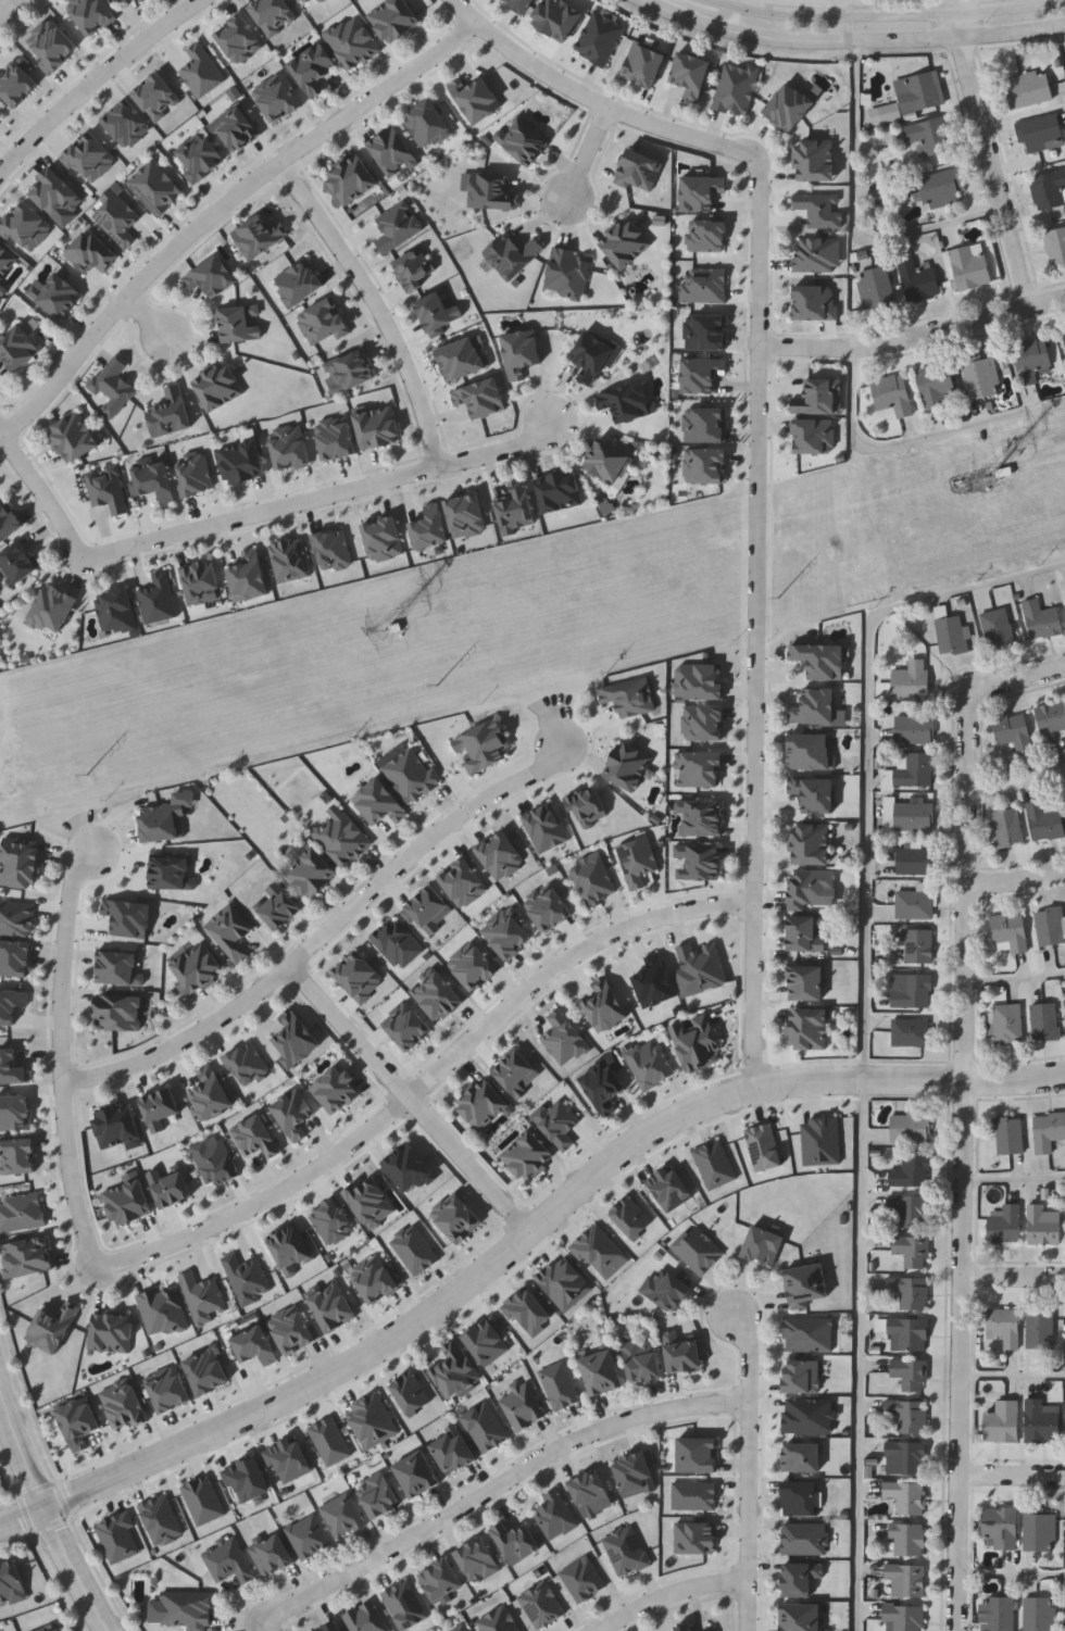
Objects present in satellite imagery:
building: (141, 0)
building: (118, 1)
building: (145, 1)
road: (1058, 1)
road: (731, 2)
road: (4, 3)
building: (313, 3)
road: (859, 8)
road: (709, 10)
road: (464, 11)
road: (890, 14)
building: (556, 17)
building: (394, 21)
road: (1014, 34)
building: (600, 37)
road: (800, 40)
road: (1062, 42)
building: (353, 43)
building: (642, 63)
building: (313, 68)
building: (202, 72)
building: (691, 75)
road: (96, 81)
building: (736, 88)
building: (1029, 88)
building: (918, 91)
building: (479, 102)
building: (789, 106)
road: (606, 110)
building: (428, 125)
building: (238, 129)
building: (1040, 131)
building: (931, 135)
building: (524, 141)
road: (857, 148)
building: (392, 152)
road: (992, 154)
building: (199, 156)
road: (589, 156)
building: (815, 160)
building: (352, 180)
building: (938, 186)
building: (155, 187)
building: (1049, 189)
building: (701, 190)
building: (494, 193)
road: (220, 210)
building: (118, 219)
building: (260, 235)
building: (626, 242)
building: (1055, 244)
building: (90, 252)
building: (817, 252)
building: (515, 258)
building: (7, 262)
building: (968, 265)
building: (416, 269)
building: (567, 272)
building: (211, 277)
building: (918, 278)
building: (298, 284)
building: (875, 287)
building: (57, 296)
road: (377, 304)
building: (439, 314)
road: (146, 316)
building: (238, 324)
building: (1064, 330)
road: (914, 335)
building: (17, 350)
building: (521, 351)
building: (590, 355)
building: (1031, 359)
building: (466, 361)
building: (349, 369)
building: (701, 373)
building: (980, 375)
building: (935, 384)
building: (113, 387)
building: (218, 388)
building: (891, 394)
building: (484, 400)
building: (626, 401)
building: (170, 414)
building: (378, 428)
road: (1, 434)
building: (73, 438)
road: (916, 438)
building: (242, 463)
building: (610, 463)
power tower: (990, 475)
building: (106, 489)
building: (559, 491)
road: (43, 493)
road: (322, 494)
building: (515, 507)
building: (289, 561)
building: (17, 562)
building: (249, 577)
building: (200, 582)
building: (159, 600)
building: (52, 609)
building: (115, 611)
building: (1041, 617)
road: (759, 622)
building: (998, 627)
power tower: (396, 632)
building: (951, 632)
building: (820, 657)
building: (910, 676)
road: (1020, 680)
building: (629, 694)
building: (815, 704)
building: (1052, 715)
building: (915, 727)
building: (1014, 729)
building: (486, 748)
building: (811, 749)
road: (868, 749)
building: (628, 764)
road: (1017, 767)
building: (914, 768)
building: (412, 776)
building: (814, 791)
building: (380, 803)
building: (588, 804)
building: (914, 813)
building: (700, 815)
building: (1043, 818)
building: (166, 819)
building: (1007, 826)
building: (546, 827)
building: (343, 839)
building: (811, 842)
building: (915, 858)
building: (636, 860)
building: (698, 860)
building: (21, 865)
building: (173, 871)
building: (311, 873)
road: (1017, 879)
building: (592, 880)
building: (914, 901)
building: (129, 917)
building: (1051, 924)
building: (1011, 930)
building: (230, 932)
road: (326, 933)
road: (607, 940)
building: (917, 944)
road: (1016, 966)
building: (118, 967)
building: (699, 967)
building: (198, 968)
building: (654, 980)
building: (806, 981)
building: (911, 989)
building: (604, 1004)
building: (120, 1013)
building: (1045, 1019)
building: (1008, 1021)
building: (807, 1027)
building: (912, 1030)
building: (297, 1040)
building: (694, 1040)
road: (65, 1054)
building: (514, 1071)
road: (965, 1079)
building: (601, 1084)
building: (338, 1090)
building: (212, 1095)
road: (412, 1097)
building: (485, 1107)
building: (15, 1113)
building: (293, 1114)
building: (911, 1127)
building: (120, 1128)
building: (1049, 1130)
building: (1008, 1134)
building: (256, 1138)
building: (527, 1155)
road: (966, 1160)
road: (1015, 1168)
building: (410, 1169)
building: (911, 1170)
road: (306, 1176)
building: (128, 1201)
building: (911, 1212)
building: (1005, 1222)
building: (1044, 1225)
building: (763, 1244)
building: (697, 1249)
building: (291, 1250)
building: (913, 1250)
building: (28, 1257)
road: (1015, 1277)
building: (807, 1282)
building: (666, 1288)
building: (910, 1291)
road: (441, 1304)
building: (163, 1313)
building: (1004, 1325)
building: (53, 1328)
building: (1040, 1329)
building: (910, 1332)
building: (112, 1333)
building: (809, 1333)
building: (680, 1351)
road: (864, 1355)
building: (641, 1359)
road: (1014, 1365)
building: (601, 1371)
building: (456, 1372)
building: (910, 1372)
building: (802, 1376)
building: (521, 1404)
building: (907, 1414)
building: (809, 1415)
building: (1042, 1420)
building: (1003, 1422)
building: (79, 1423)
road: (606, 1430)
road: (22, 1450)
building: (454, 1453)
building: (697, 1454)
building: (905, 1457)
road: (749, 1469)
building: (634, 1472)
building: (418, 1475)
road: (1014, 1476)
building: (589, 1490)
building: (379, 1495)
building: (906, 1496)
building: (800, 1497)
building: (554, 1515)
building: (343, 1516)
building: (1000, 1528)
building: (1040, 1529)
building: (309, 1538)
building: (909, 1539)
building: (516, 1540)
building: (273, 1556)
road: (368, 1560)
building: (229, 1561)
road: (1013, 1561)
building: (480, 1563)
road: (77, 1569)
building: (907, 1579)
building: (799, 1580)
building: (442, 1581)
building: (11, 1582)
road: (672, 1594)
building: (183, 1611)
building: (999, 1614)
building: (1040, 1614)
building: (801, 1617)
building: (904, 1618)
building: (366, 1619)
road: (263, 1627)
building: (51, 1628)
building: (334, 1628)
building: (685, 1628)
building: (466, 1629)

